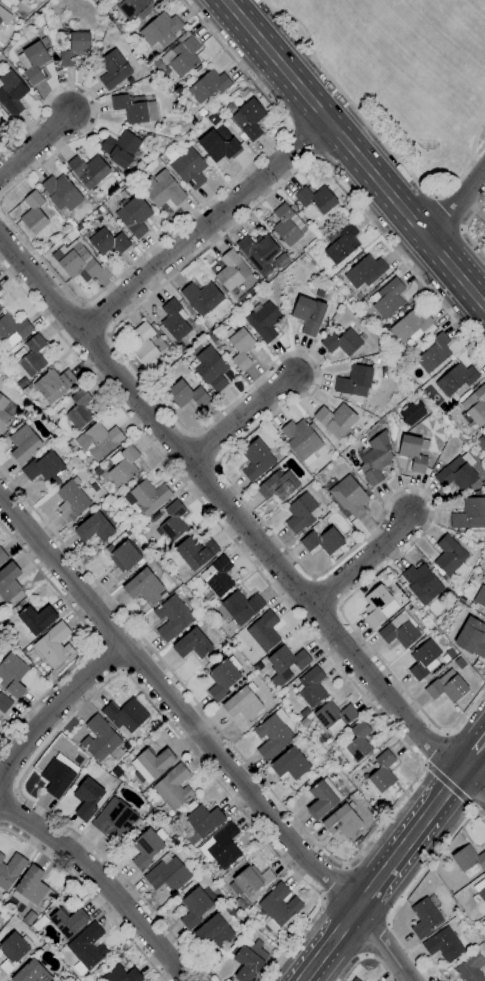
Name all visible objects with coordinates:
building: (18, 0)
building: (131, 7)
building: (4, 16)
building: (1, 26)
building: (160, 30)
building: (75, 49)
building: (178, 56)
building: (34, 62)
building: (113, 69)
park: (403, 73)
building: (208, 86)
building: (11, 93)
building: (245, 95)
road: (93, 108)
building: (130, 108)
building: (213, 119)
building: (248, 119)
road: (288, 130)
road: (375, 134)
building: (1, 135)
road: (34, 143)
road: (302, 143)
building: (219, 145)
building: (120, 148)
road: (355, 154)
road: (313, 158)
building: (189, 168)
building: (88, 170)
building: (128, 190)
building: (162, 190)
building: (61, 192)
road: (434, 197)
building: (316, 198)
road: (456, 204)
road: (201, 205)
building: (33, 212)
road: (445, 214)
building: (133, 215)
building: (484, 224)
building: (286, 225)
road: (203, 226)
road: (464, 228)
road: (461, 230)
building: (484, 241)
building: (108, 242)
building: (342, 244)
building: (261, 253)
building: (73, 263)
building: (228, 271)
building: (365, 271)
building: (201, 297)
building: (387, 298)
road: (81, 304)
building: (0, 308)
building: (308, 314)
road: (91, 320)
building: (173, 321)
building: (263, 322)
building: (410, 326)
building: (12, 330)
road: (106, 334)
building: (343, 342)
building: (147, 347)
building: (240, 348)
building: (433, 353)
building: (31, 356)
building: (210, 369)
road: (316, 370)
building: (354, 379)
building: (455, 379)
building: (54, 384)
building: (186, 395)
building: (474, 407)
building: (79, 409)
building: (3, 413)
building: (412, 413)
road: (239, 417)
building: (336, 421)
road: (190, 433)
building: (98, 440)
building: (301, 440)
building: (23, 444)
building: (482, 444)
road: (201, 450)
building: (413, 452)
building: (374, 459)
building: (256, 460)
road: (215, 464)
building: (122, 465)
building: (43, 468)
building: (457, 473)
building: (277, 485)
building: (149, 496)
building: (348, 496)
building: (71, 501)
building: (301, 513)
building: (469, 514)
road: (237, 519)
building: (173, 521)
building: (95, 526)
building: (322, 541)
building: (194, 551)
building: (2, 556)
building: (449, 558)
building: (123, 559)
road: (361, 561)
building: (216, 578)
road: (312, 578)
building: (8, 582)
building: (421, 583)
building: (142, 586)
road: (323, 594)
building: (480, 596)
building: (379, 606)
building: (241, 607)
road: (337, 609)
building: (171, 618)
building: (36, 619)
building: (400, 630)
building: (263, 631)
road: (92, 638)
building: (471, 638)
building: (191, 644)
building: (54, 645)
road: (107, 657)
building: (423, 660)
building: (285, 665)
building: (258, 667)
building: (12, 675)
building: (223, 678)
road: (107, 681)
building: (310, 687)
building: (446, 687)
building: (4, 703)
building: (242, 704)
road: (176, 705)
road: (54, 707)
building: (125, 715)
building: (334, 717)
road: (443, 733)
building: (272, 735)
building: (99, 739)
building: (357, 743)
road: (434, 750)
road: (472, 752)
building: (151, 763)
building: (289, 764)
road: (419, 765)
road: (422, 765)
building: (382, 772)
building: (58, 775)
road: (448, 786)
building: (173, 787)
road: (478, 797)
building: (322, 798)
building: (86, 799)
road: (434, 804)
road: (473, 810)
building: (113, 819)
building: (341, 821)
building: (202, 822)
building: (221, 847)
building: (146, 848)
building: (1, 857)
building: (466, 862)
building: (11, 871)
road: (383, 873)
building: (167, 876)
building: (484, 876)
road: (104, 878)
road: (330, 878)
building: (249, 881)
building: (29, 887)
road: (411, 888)
building: (480, 890)
road: (90, 894)
building: (195, 906)
building: (278, 907)
building: (424, 918)
building: (0, 919)
building: (484, 919)
building: (63, 922)
building: (216, 927)
road: (332, 940)
road: (377, 940)
building: (446, 943)
road: (382, 944)
building: (87, 948)
building: (13, 951)
road: (367, 956)
building: (249, 960)
building: (470, 968)
building: (31, 973)
building: (121, 975)
road: (303, 977)
building: (354, 979)

